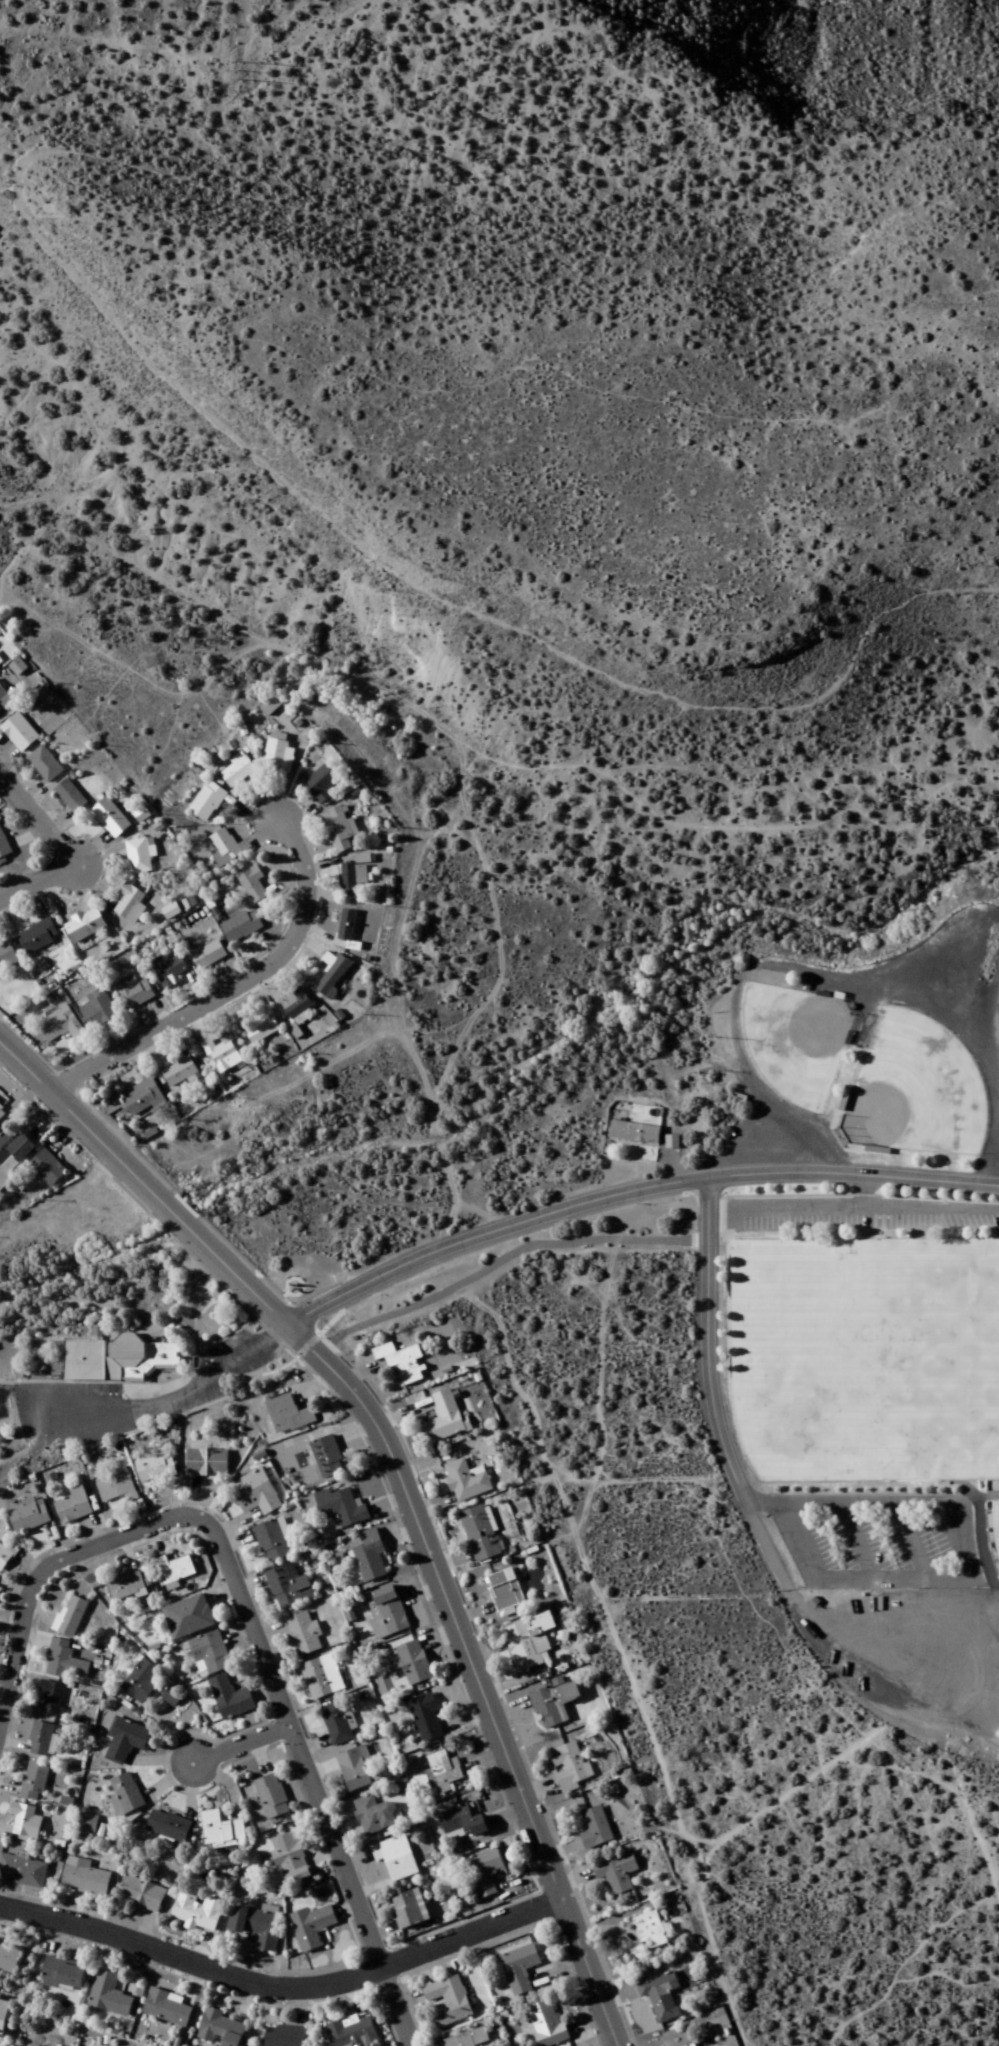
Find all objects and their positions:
building: (268, 708)
building: (19, 732)
building: (277, 754)
building: (45, 765)
building: (237, 771)
building: (320, 785)
building: (70, 797)
building: (207, 802)
building: (110, 818)
building: (339, 832)
road: (54, 842)
building: (2, 843)
building: (226, 848)
building: (140, 855)
building: (352, 879)
building: (252, 886)
building: (130, 903)
building: (170, 911)
building: (346, 925)
building: (84, 926)
building: (241, 926)
building: (37, 937)
building: (3, 951)
building: (208, 956)
building: (168, 971)
building: (332, 975)
road: (231, 989)
building: (133, 992)
building: (295, 1004)
building: (97, 1008)
building: (59, 1026)
building: (261, 1028)
park: (794, 1041)
building: (223, 1057)
building: (179, 1073)
park: (913, 1089)
building: (141, 1100)
building: (0, 1108)
building: (634, 1133)
road: (997, 1148)
building: (13, 1151)
building: (46, 1168)
road: (635, 1201)
parking lot: (926, 1216)
road: (500, 1260)
road: (99, 1291)
park: (863, 1293)
park: (860, 1336)
road: (322, 1346)
building: (116, 1361)
building: (401, 1362)
parking lot: (62, 1390)
building: (288, 1416)
building: (444, 1419)
road: (732, 1454)
building: (327, 1458)
building: (207, 1463)
building: (155, 1469)
building: (466, 1481)
road: (398, 1485)
building: (116, 1488)
building: (256, 1493)
building: (73, 1507)
building: (341, 1508)
building: (30, 1516)
park: (993, 1529)
building: (480, 1533)
building: (272, 1541)
parking lot: (885, 1542)
building: (6, 1556)
building: (370, 1556)
building: (176, 1572)
building: (289, 1587)
building: (126, 1588)
building: (505, 1590)
road: (239, 1594)
building: (386, 1613)
building: (72, 1617)
building: (189, 1618)
building: (304, 1635)
building: (530, 1641)
building: (210, 1653)
building: (65, 1662)
building: (412, 1663)
building: (322, 1677)
building: (139, 1681)
building: (52, 1697)
building: (230, 1699)
building: (554, 1704)
building: (426, 1719)
building: (336, 1724)
building: (41, 1739)
building: (127, 1740)
road: (236, 1740)
building: (568, 1767)
building: (355, 1769)
building: (444, 1771)
building: (34, 1781)
building: (127, 1793)
building: (272, 1797)
building: (375, 1815)
building: (26, 1822)
building: (86, 1823)
building: (462, 1823)
building: (168, 1827)
building: (595, 1829)
building: (221, 1830)
building: (289, 1858)
building: (396, 1858)
building: (22, 1871)
building: (484, 1873)
building: (617, 1873)
building: (84, 1877)
building: (142, 1895)
building: (196, 1911)
building: (407, 1911)
building: (257, 1925)
building: (312, 1927)
building: (650, 1930)
building: (9, 1958)
building: (519, 1970)
building: (62, 1975)
road: (281, 1983)
building: (109, 1996)
building: (661, 1996)
building: (447, 2002)
road: (394, 2005)
building: (166, 2008)
building: (3, 2018)
building: (546, 2024)
building: (220, 2029)
building: (352, 2033)
building: (284, 2036)
building: (678, 2038)
building: (468, 2039)

